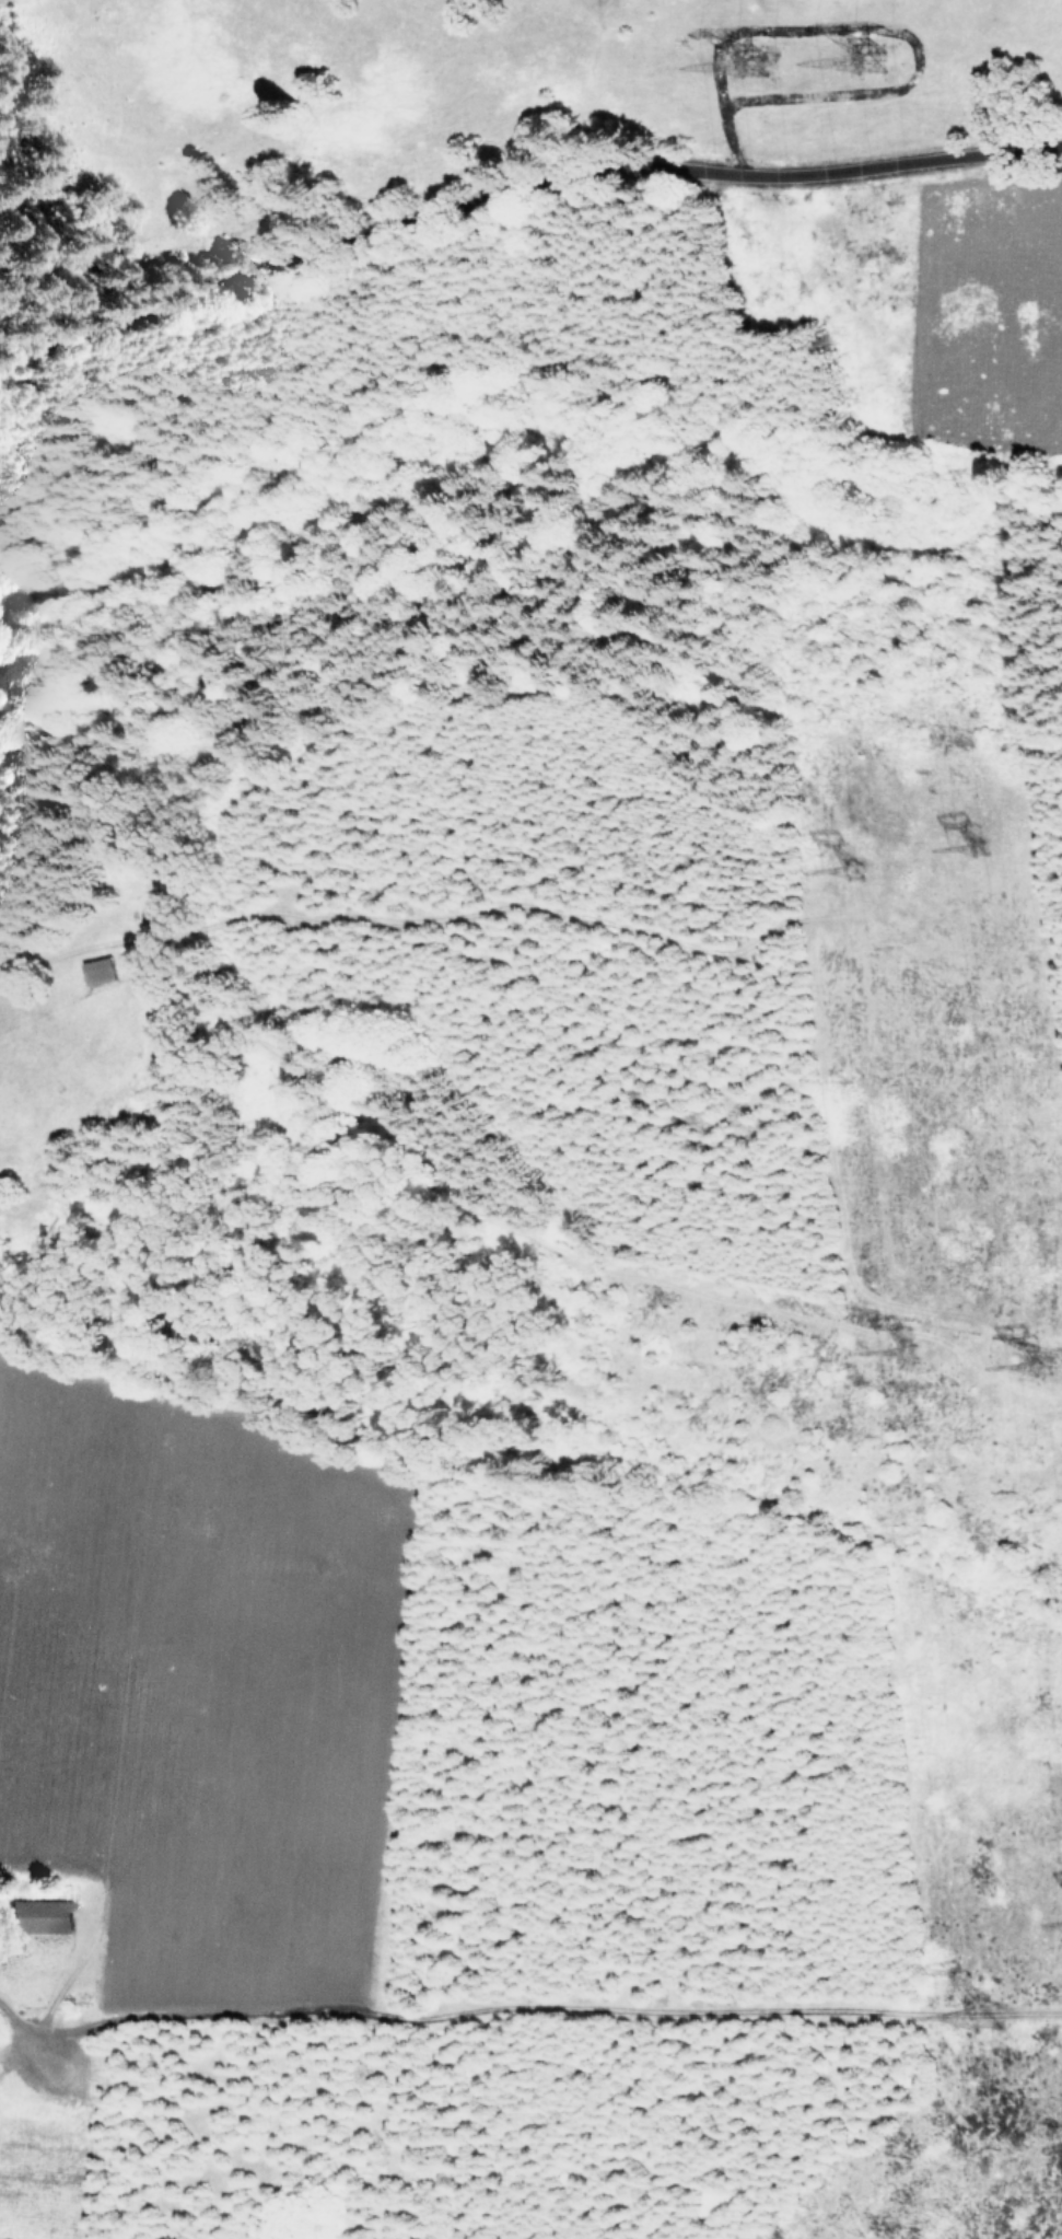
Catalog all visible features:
power tower: (762, 81)
power tower: (882, 82)
road: (516, 188)
road: (481, 700)
power tower: (989, 860)
power tower: (863, 880)
building: (101, 970)
power tower: (922, 1378)
power tower: (1054, 1379)
building: (49, 1914)
power tower: (993, 2033)
road: (25, 2043)

